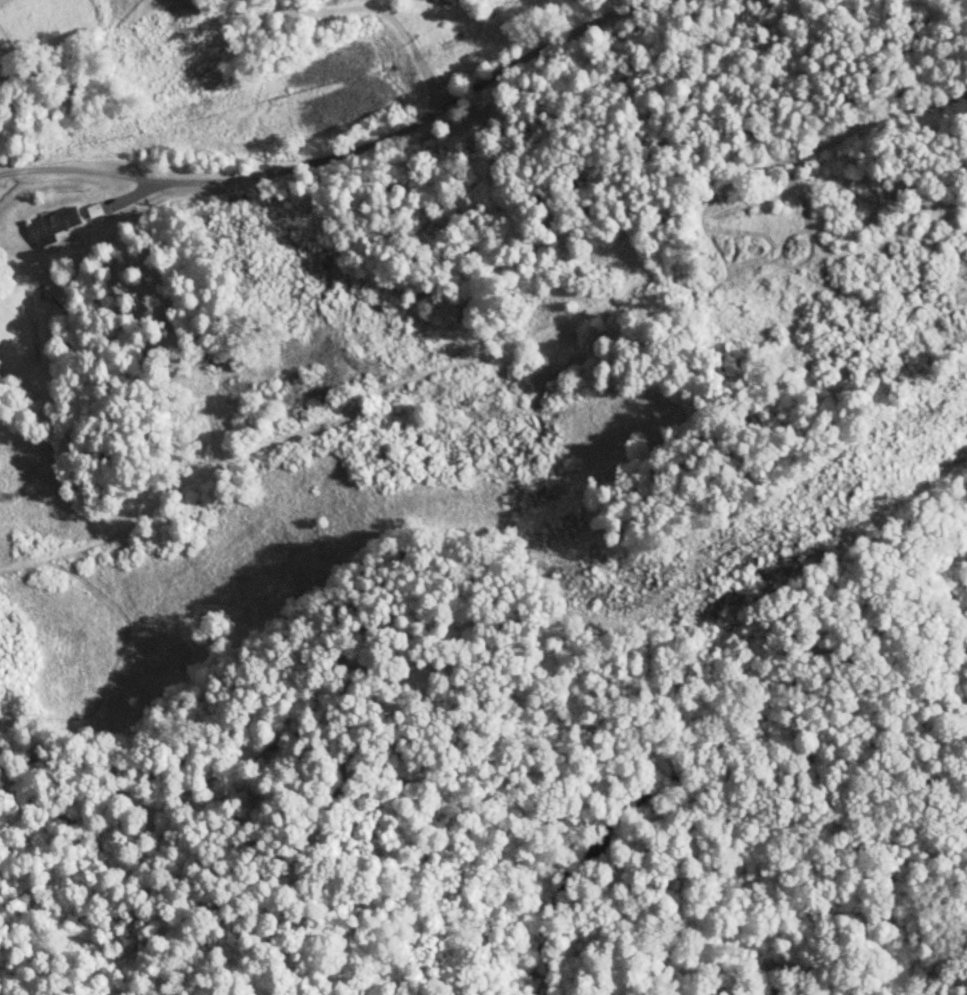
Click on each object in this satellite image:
road: (405, 137)
building: (50, 222)

